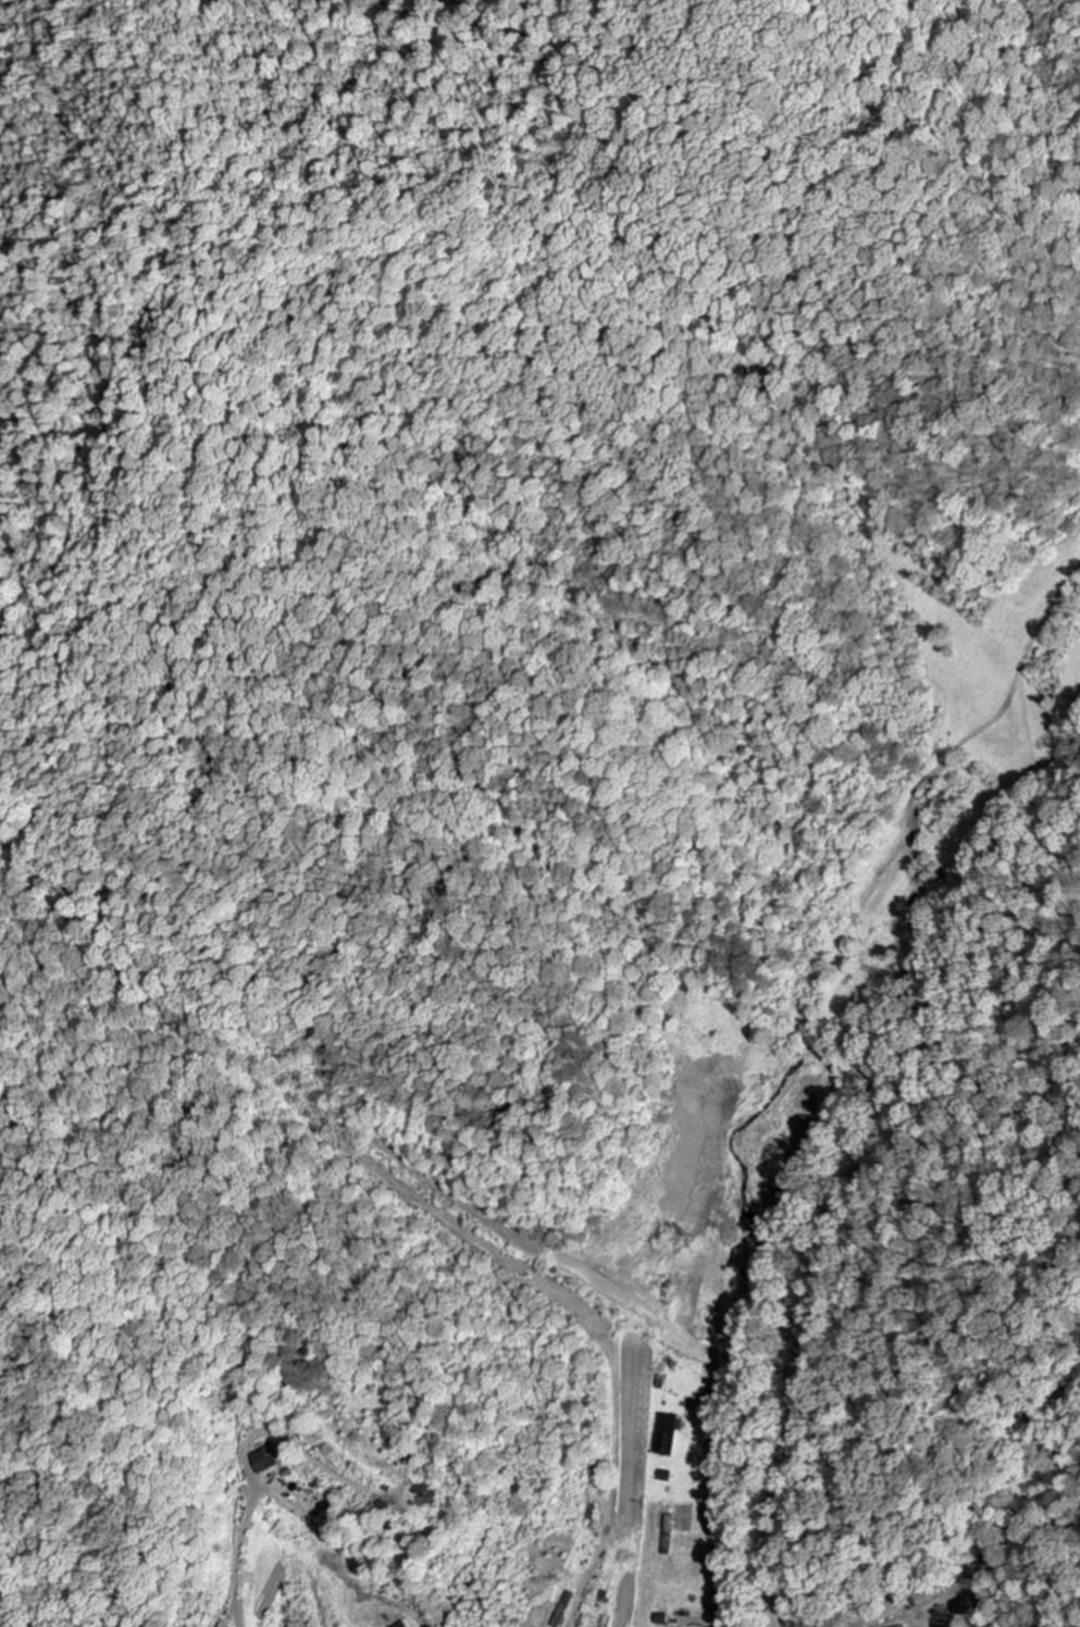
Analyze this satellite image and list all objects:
building: (670, 1430)
building: (264, 1462)
building: (427, 1489)
road: (713, 1512)
building: (302, 1625)
building: (911, 1626)

